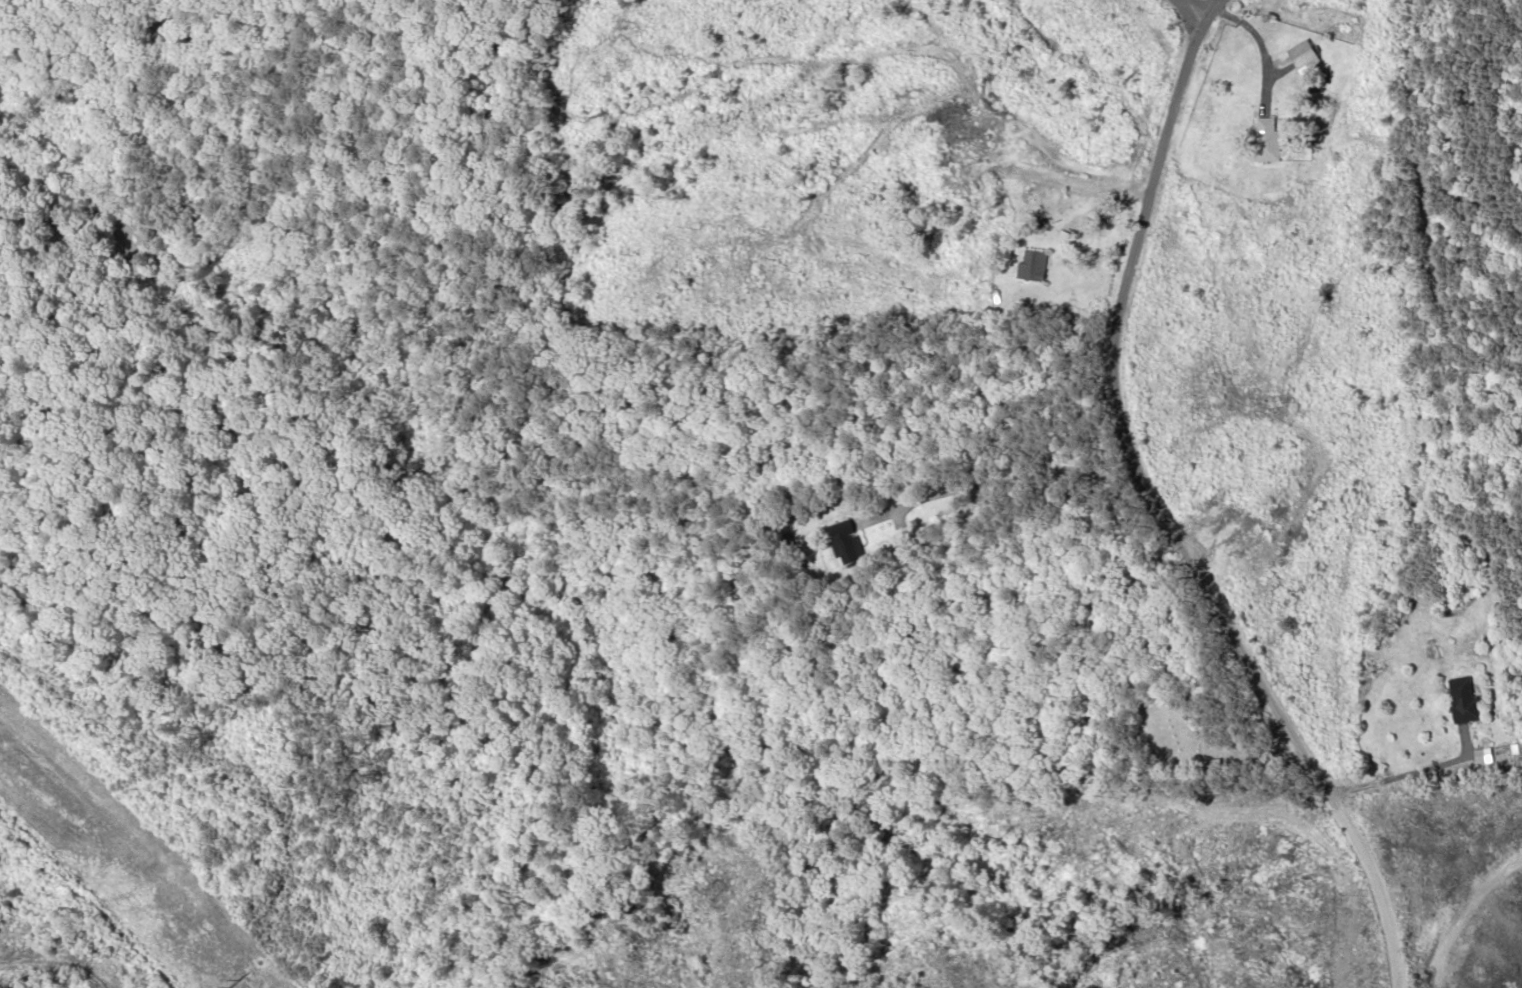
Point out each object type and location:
road: (1192, 21)
building: (1303, 56)
road: (1145, 506)
building: (1465, 698)

